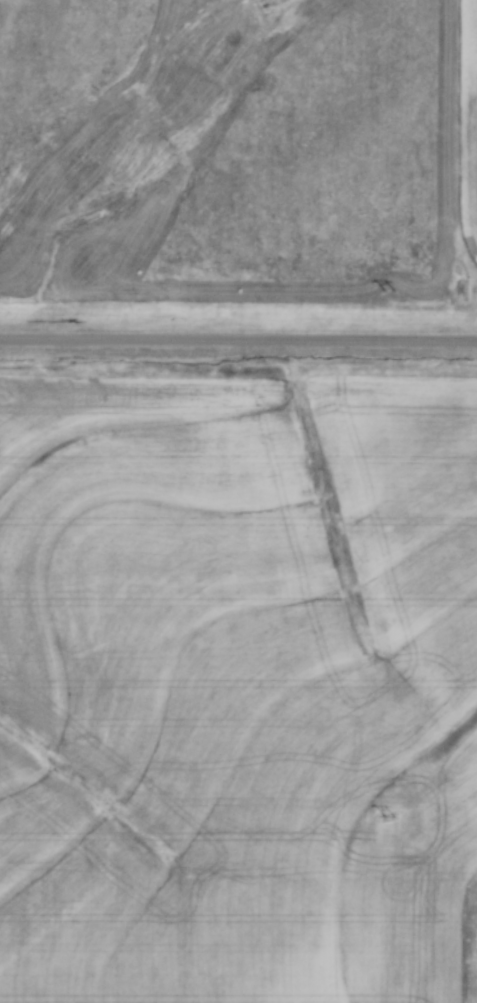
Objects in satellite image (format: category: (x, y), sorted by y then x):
power tower: (391, 290)
road: (238, 337)
power tower: (390, 814)

